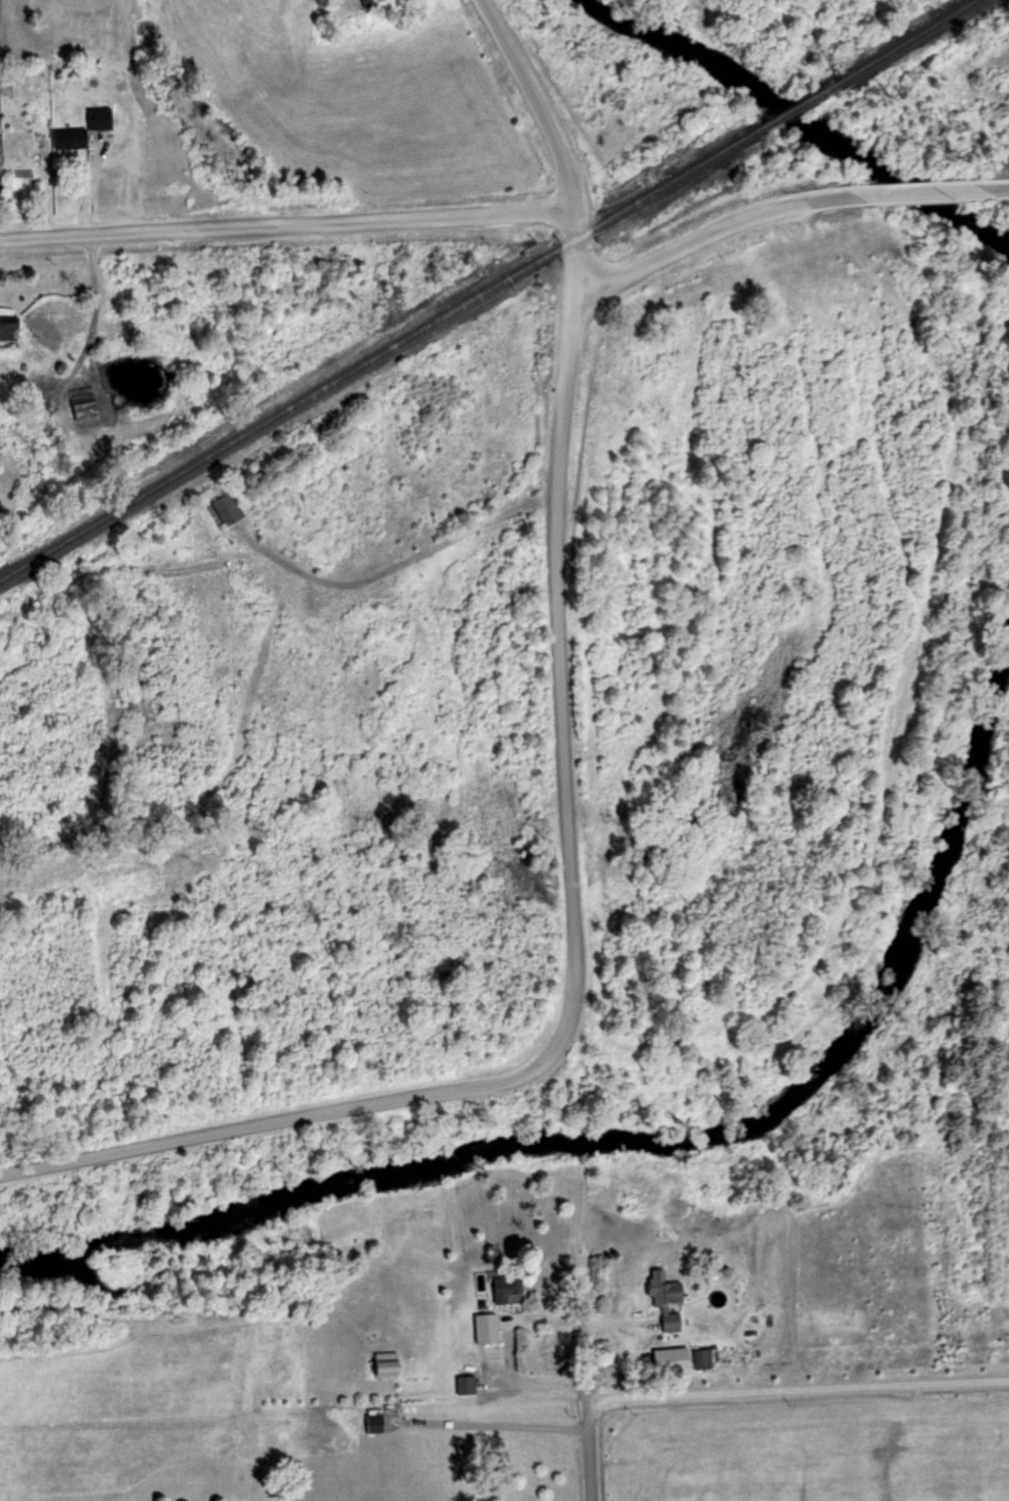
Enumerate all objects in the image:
building: (370, 3)
railway: (915, 40)
road: (532, 101)
railway: (804, 105)
building: (85, 130)
building: (23, 141)
road: (994, 188)
road: (914, 191)
road: (283, 223)
road: (704, 229)
road: (566, 252)
building: (9, 328)
railway: (380, 356)
building: (86, 411)
building: (232, 514)
road: (570, 958)
building: (506, 1287)
building: (668, 1302)
building: (487, 1329)
road: (500, 1348)
building: (701, 1359)
road: (582, 1374)
building: (467, 1385)
road: (796, 1392)
road: (489, 1423)

